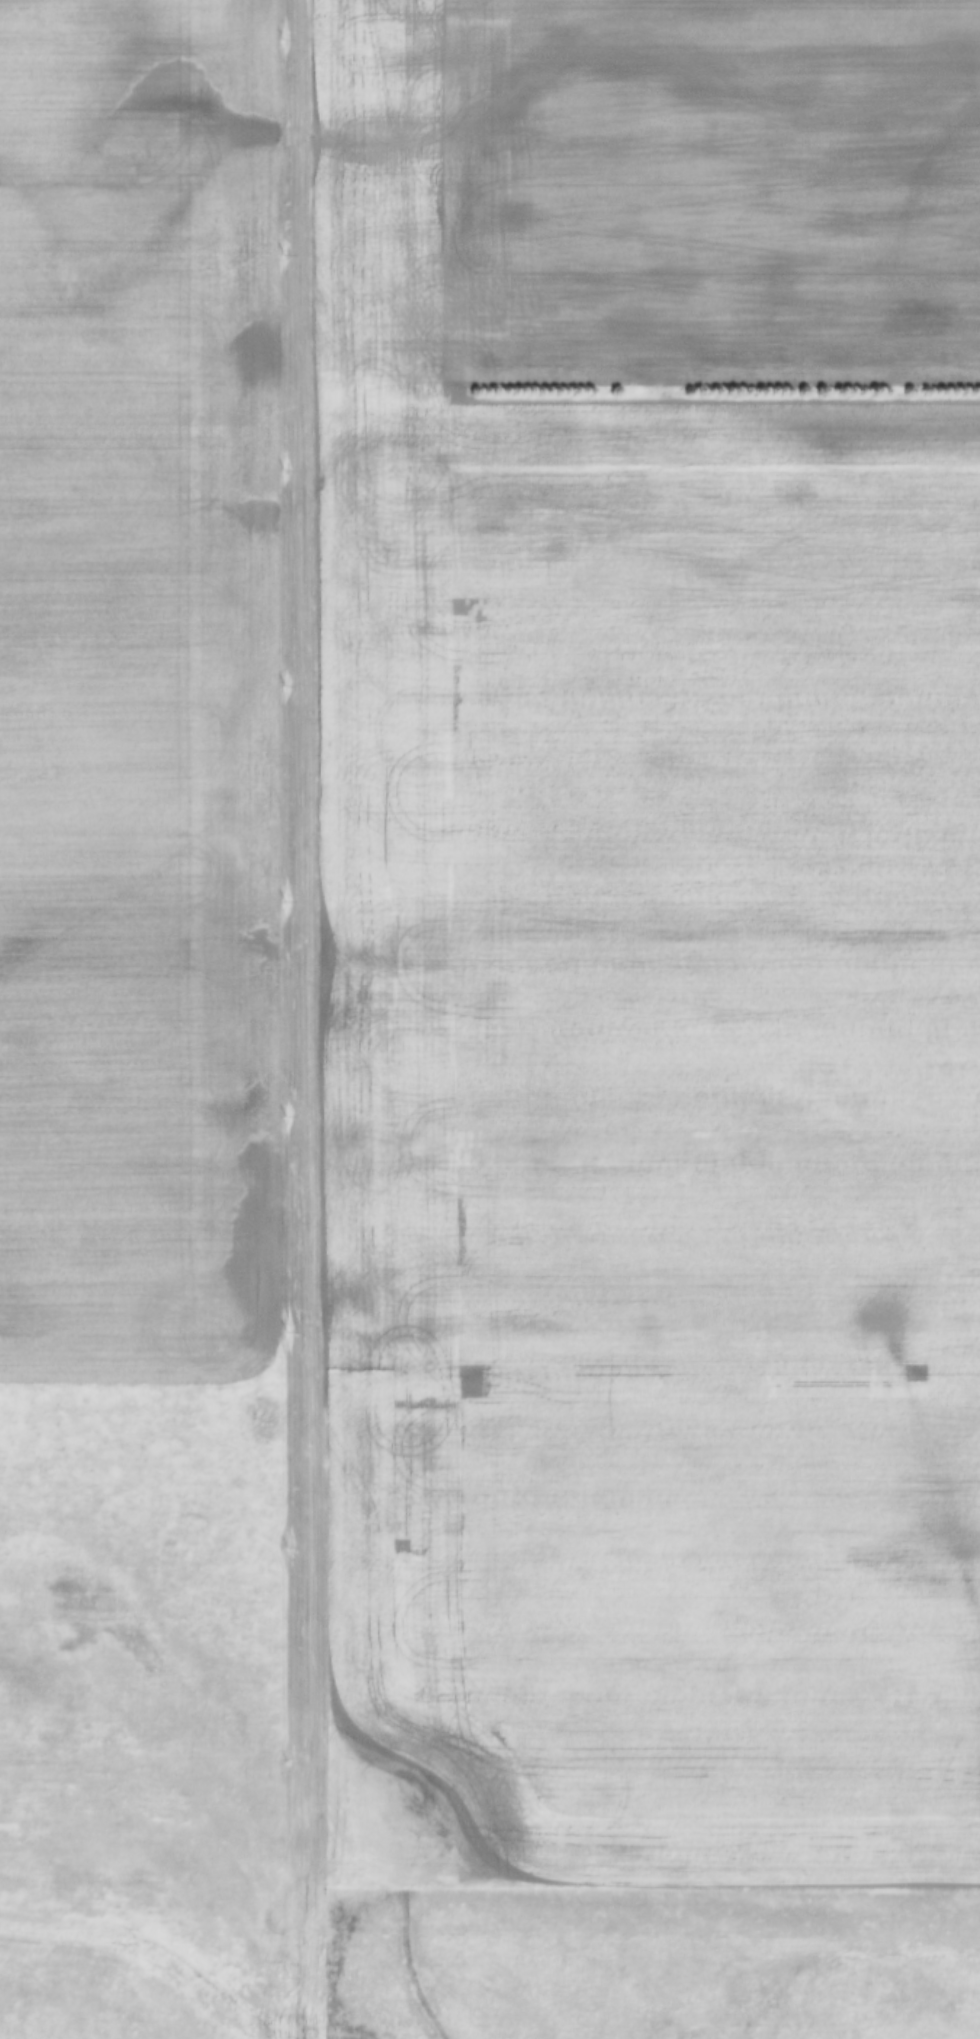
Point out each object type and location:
road: (316, 1019)

